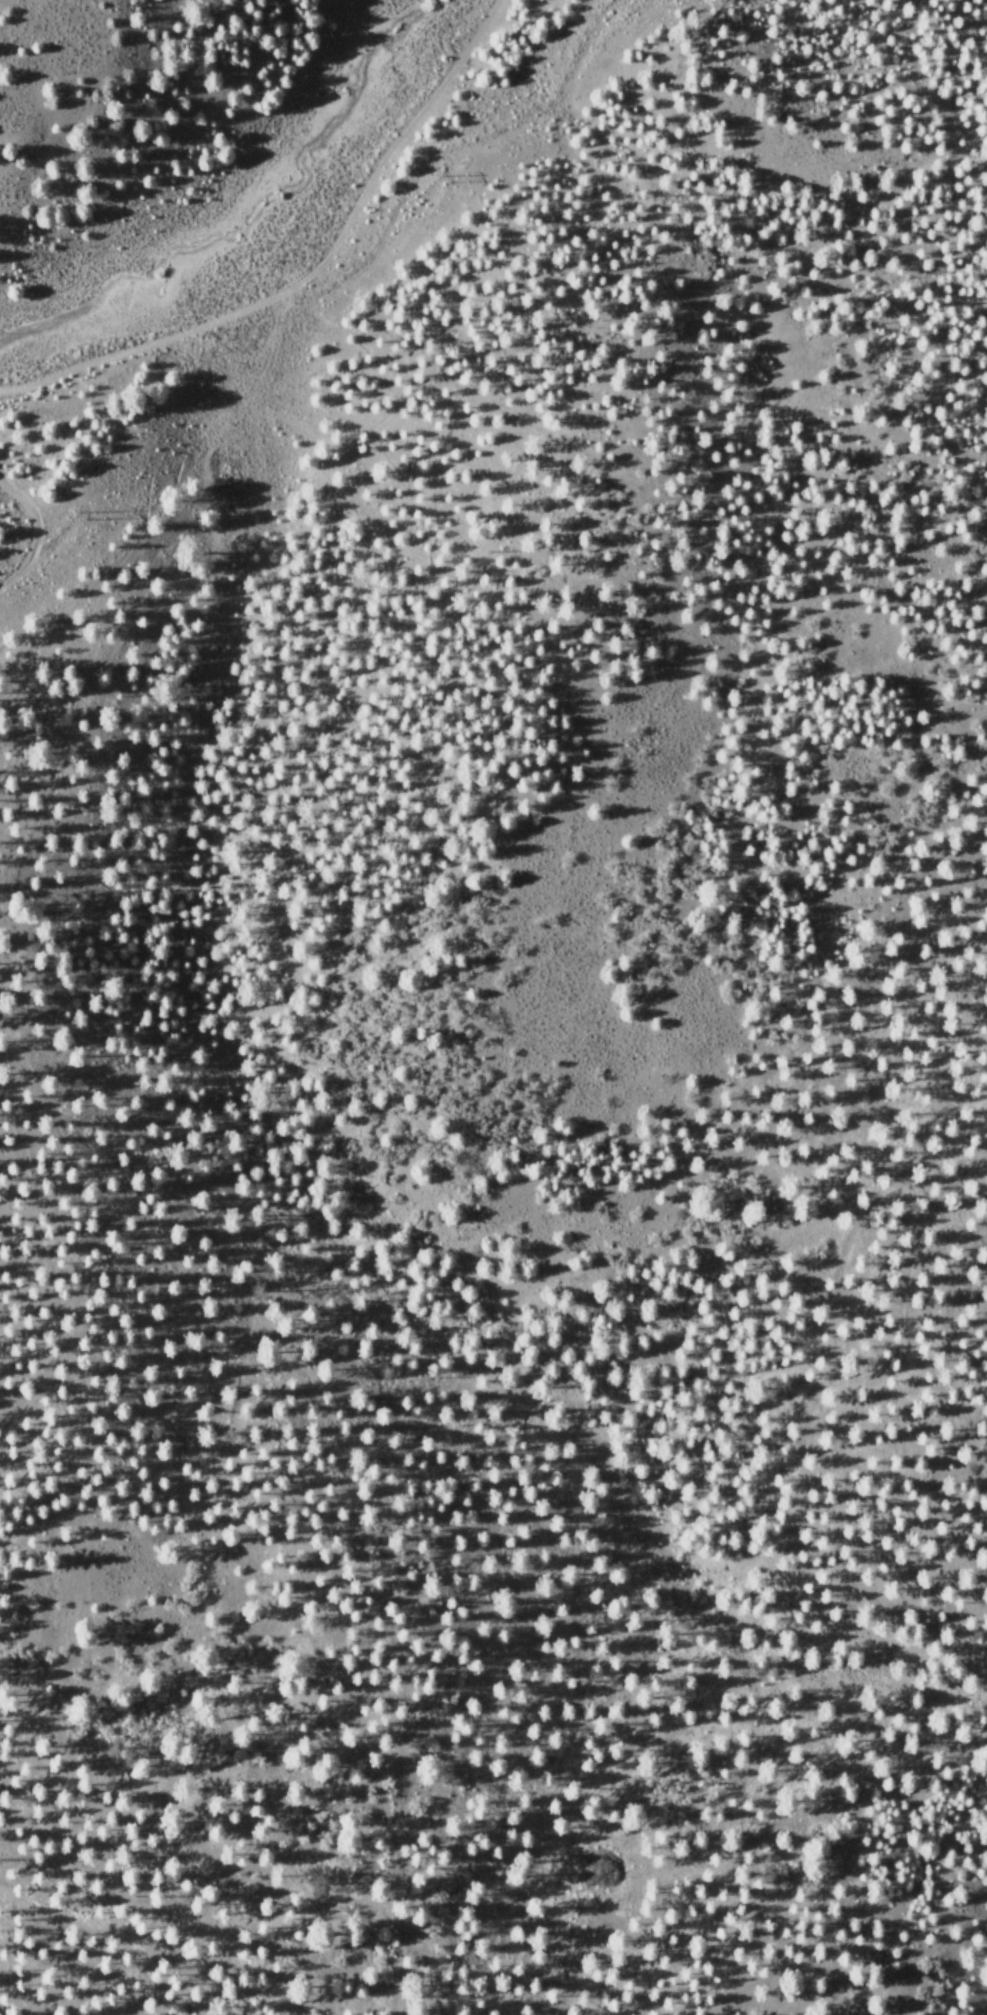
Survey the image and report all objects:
power tower: (455, 179)
power tower: (97, 519)

